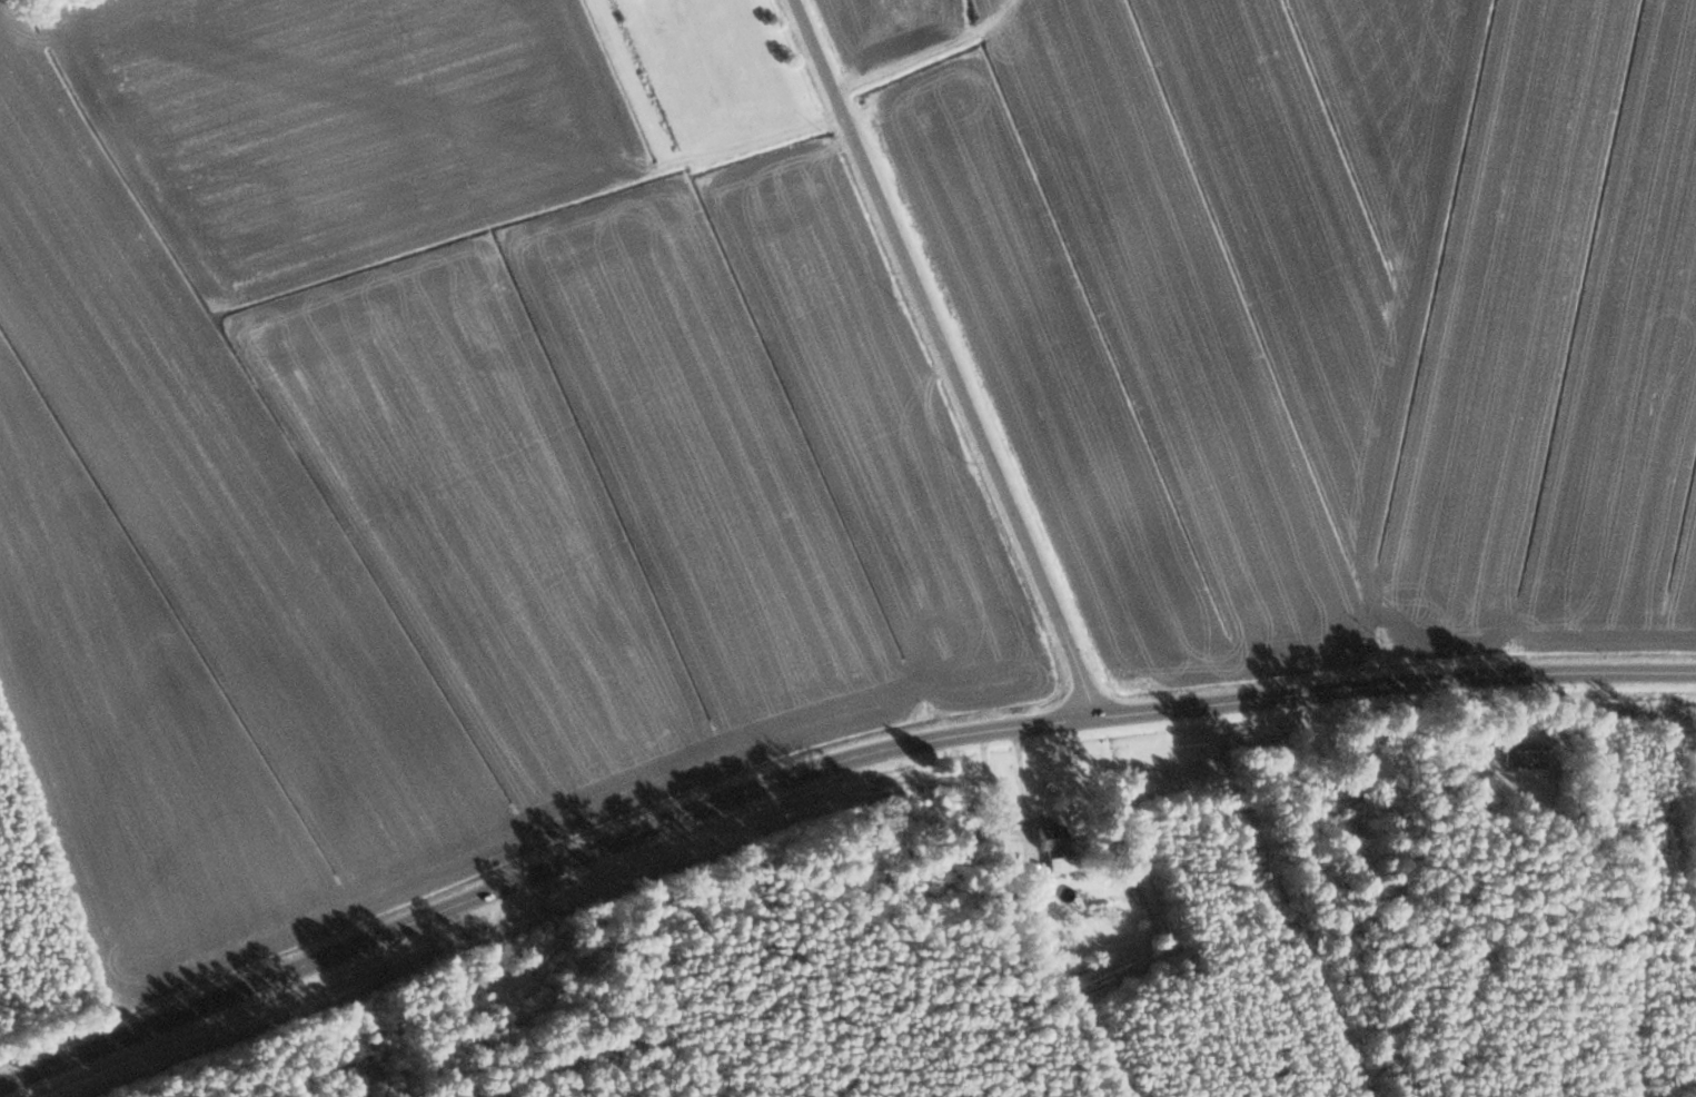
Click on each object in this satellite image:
road: (118, 75)
road: (946, 357)
building: (1523, 754)
road: (821, 763)
road: (1010, 823)
building: (1053, 846)
building: (519, 952)

